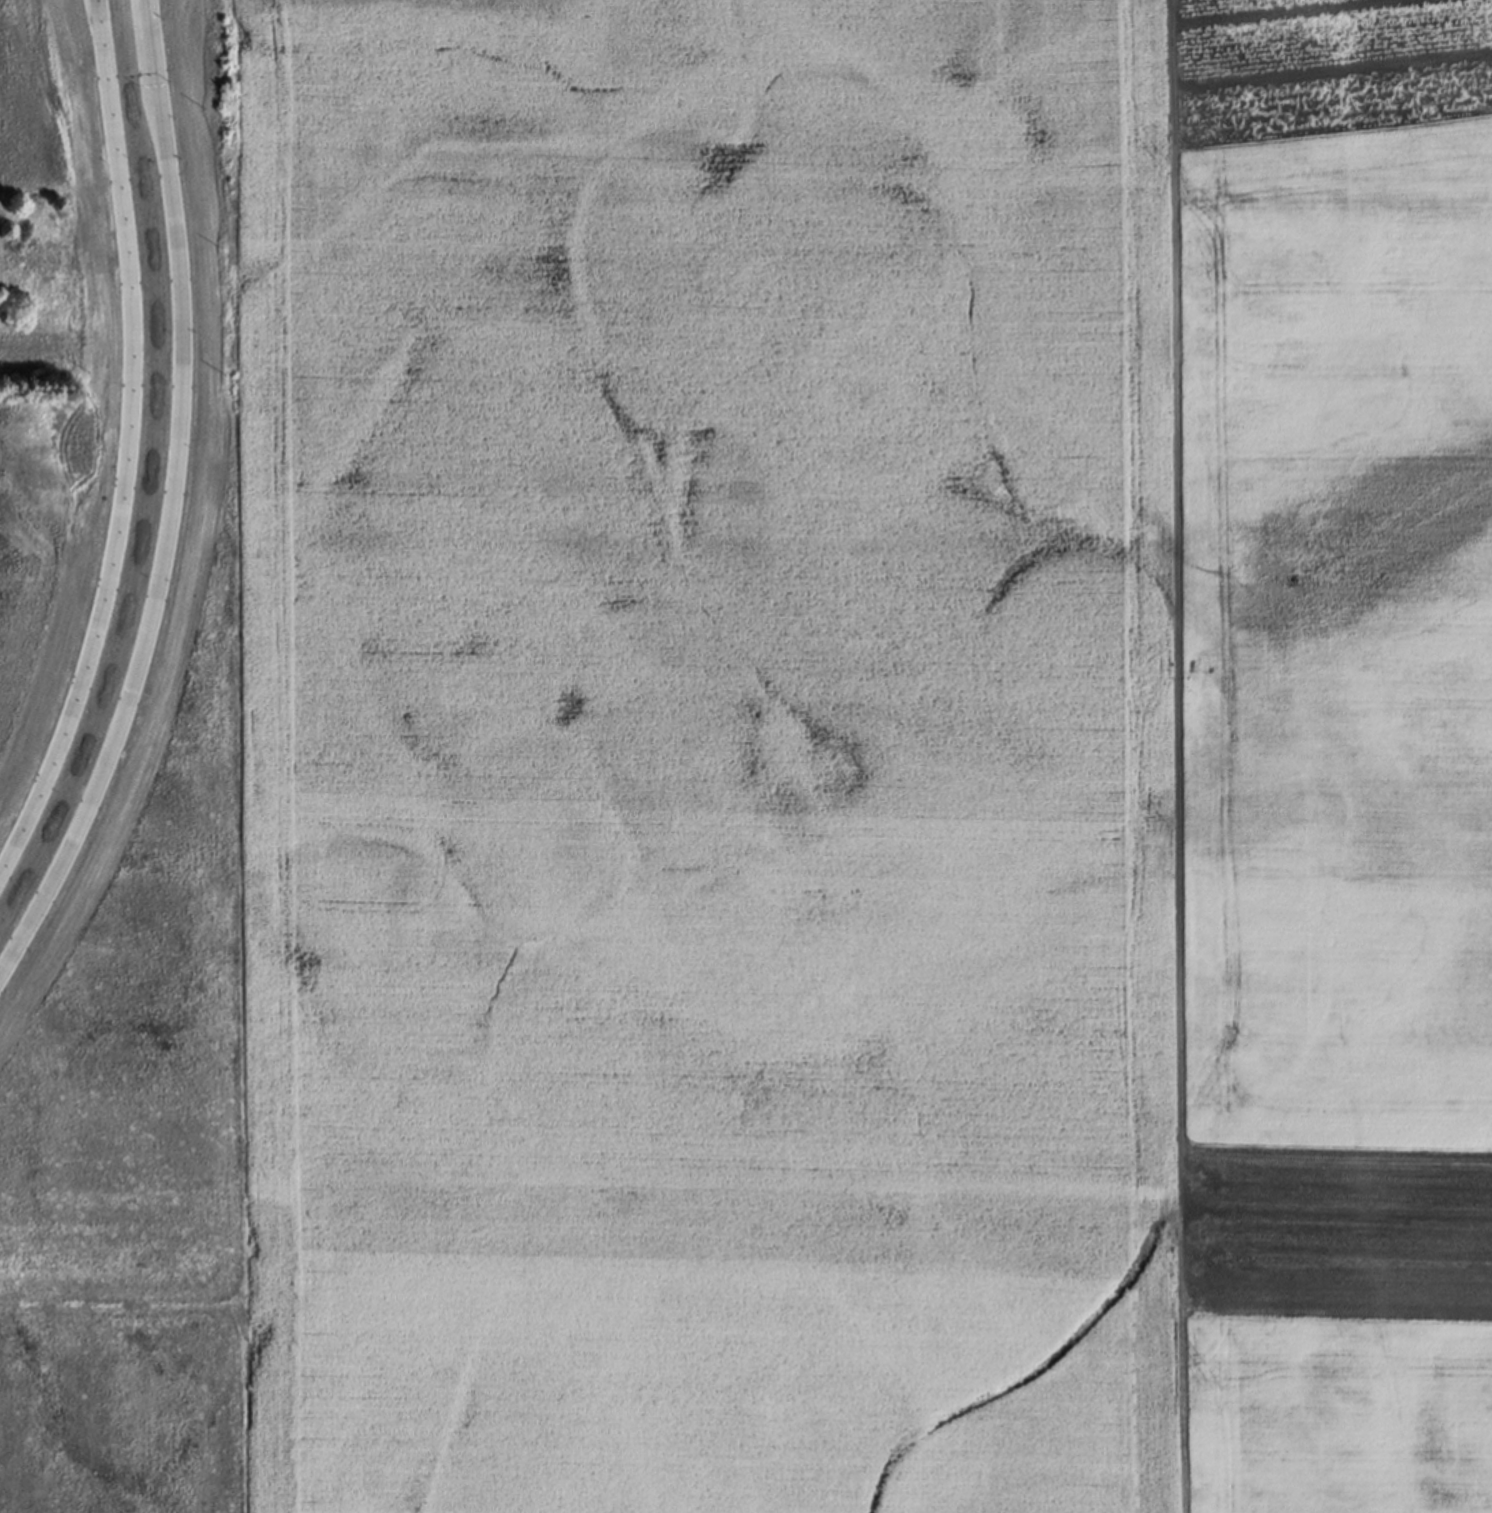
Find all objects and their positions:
road: (147, 16)
road: (132, 446)
road: (173, 500)
crop: (746, 756)
road: (1168, 756)

